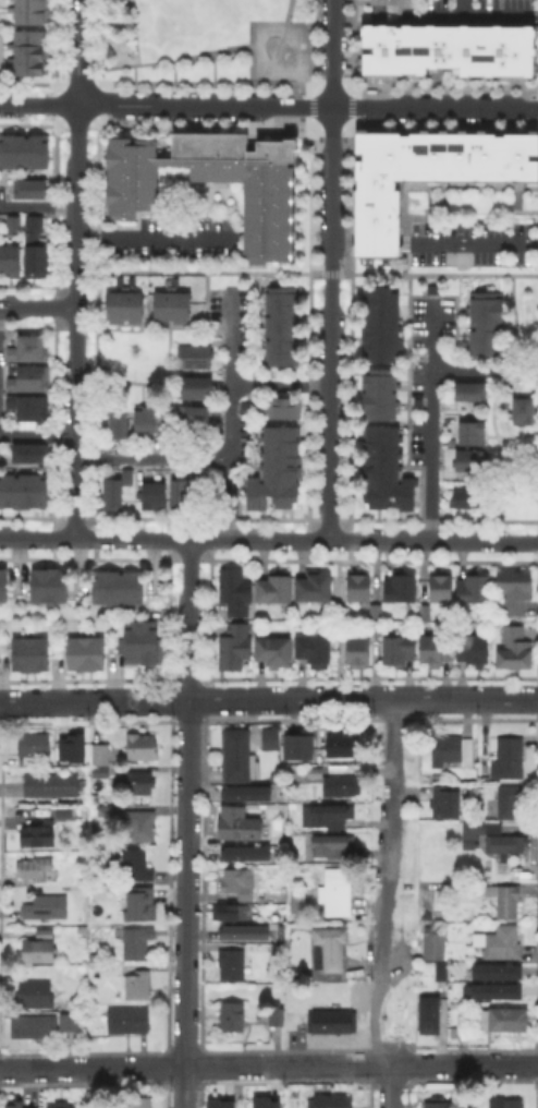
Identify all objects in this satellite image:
building: (28, 11)
road: (432, 16)
road: (491, 17)
park: (209, 46)
building: (28, 50)
road: (77, 51)
fountain: (282, 52)
building: (450, 56)
road: (200, 57)
road: (306, 57)
road: (272, 87)
road: (38, 104)
road: (307, 106)
building: (23, 148)
building: (427, 171)
building: (131, 179)
building: (246, 183)
building: (27, 186)
road: (38, 206)
building: (15, 225)
road: (158, 237)
road: (474, 243)
building: (36, 250)
building: (11, 260)
road: (331, 269)
road: (299, 273)
road: (209, 291)
building: (122, 305)
road: (37, 306)
building: (171, 308)
road: (75, 320)
building: (379, 322)
building: (484, 322)
building: (282, 327)
building: (28, 350)
building: (194, 358)
road: (485, 371)
building: (32, 381)
road: (280, 387)
building: (194, 388)
building: (378, 393)
building: (470, 393)
building: (281, 406)
building: (29, 408)
building: (524, 412)
road: (230, 415)
building: (194, 420)
road: (431, 420)
building: (115, 421)
building: (145, 422)
building: (472, 434)
road: (37, 436)
building: (26, 449)
road: (152, 459)
building: (473, 462)
building: (273, 468)
building: (382, 469)
building: (126, 478)
building: (22, 489)
building: (112, 495)
building: (178, 495)
building: (152, 497)
building: (470, 499)
road: (269, 540)
building: (2, 582)
building: (46, 583)
building: (113, 585)
building: (358, 587)
building: (274, 588)
building: (401, 588)
building: (441, 588)
building: (314, 589)
building: (473, 590)
building: (514, 591)
building: (233, 592)
road: (189, 618)
road: (338, 619)
building: (375, 619)
building: (138, 640)
building: (234, 648)
building: (435, 649)
building: (396, 650)
building: (515, 650)
building: (27, 651)
building: (83, 651)
building: (475, 651)
building: (273, 652)
building: (313, 652)
building: (357, 652)
road: (268, 698)
building: (273, 739)
building: (36, 746)
building: (343, 746)
building: (143, 748)
building: (299, 749)
building: (453, 750)
building: (68, 757)
building: (512, 758)
building: (241, 759)
building: (101, 760)
building: (317, 772)
building: (437, 776)
building: (140, 784)
building: (52, 786)
building: (344, 786)
building: (243, 792)
building: (511, 802)
building: (444, 803)
building: (108, 810)
building: (323, 815)
building: (236, 823)
building: (143, 827)
building: (475, 831)
building: (42, 836)
building: (330, 844)
building: (508, 844)
building: (243, 852)
building: (136, 865)
building: (36, 870)
building: (96, 880)
road: (384, 881)
building: (83, 883)
building: (242, 887)
building: (338, 891)
building: (441, 896)
building: (508, 901)
road: (186, 903)
building: (143, 906)
building: (49, 908)
building: (232, 913)
building: (46, 935)
building: (243, 935)
building: (432, 941)
building: (138, 943)
building: (505, 943)
building: (331, 950)
building: (39, 953)
building: (236, 965)
building: (438, 969)
building: (493, 969)
building: (139, 987)
building: (493, 990)
building: (38, 996)
building: (273, 1014)
building: (426, 1014)
building: (234, 1017)
building: (280, 1019)
building: (130, 1021)
building: (508, 1022)
building: (333, 1023)
building: (46, 1025)
road: (268, 1065)
road: (390, 1086)
building: (262, 1101)
building: (333, 1101)
building: (140, 1103)
building: (503, 1103)
building: (13, 1104)
building: (62, 1105)
building: (212, 1105)
building: (436, 1106)

